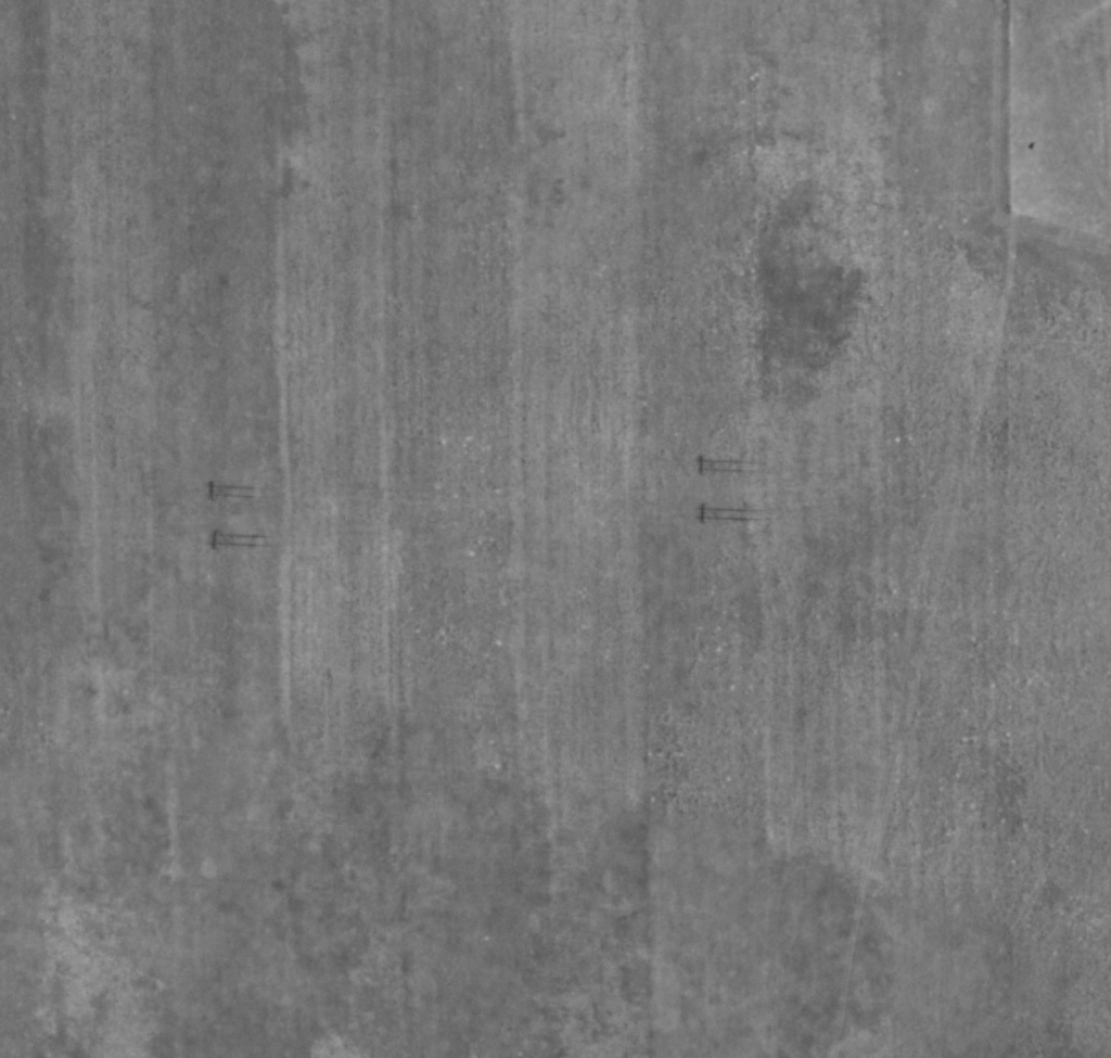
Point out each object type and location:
power tower: (742, 464)
power tower: (254, 490)
power tower: (745, 512)
power tower: (257, 538)

